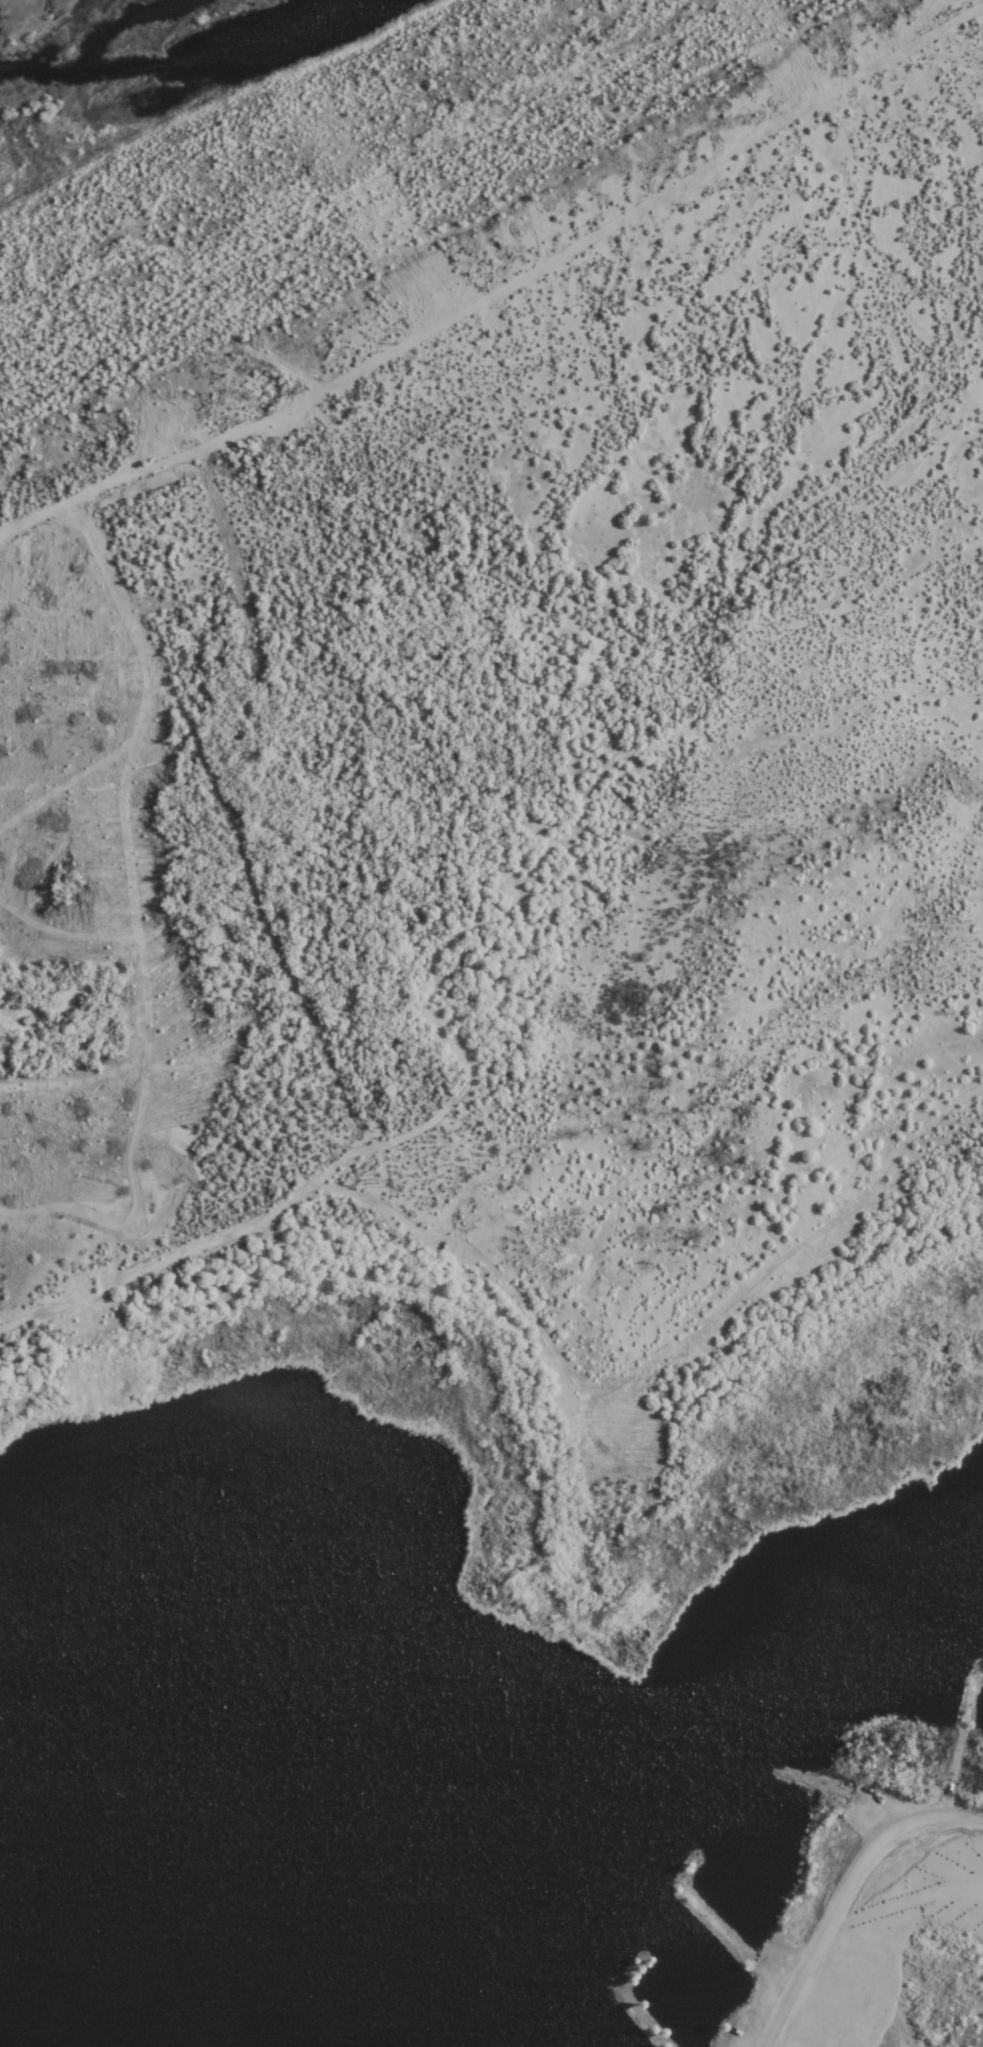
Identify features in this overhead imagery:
road: (844, 1895)

